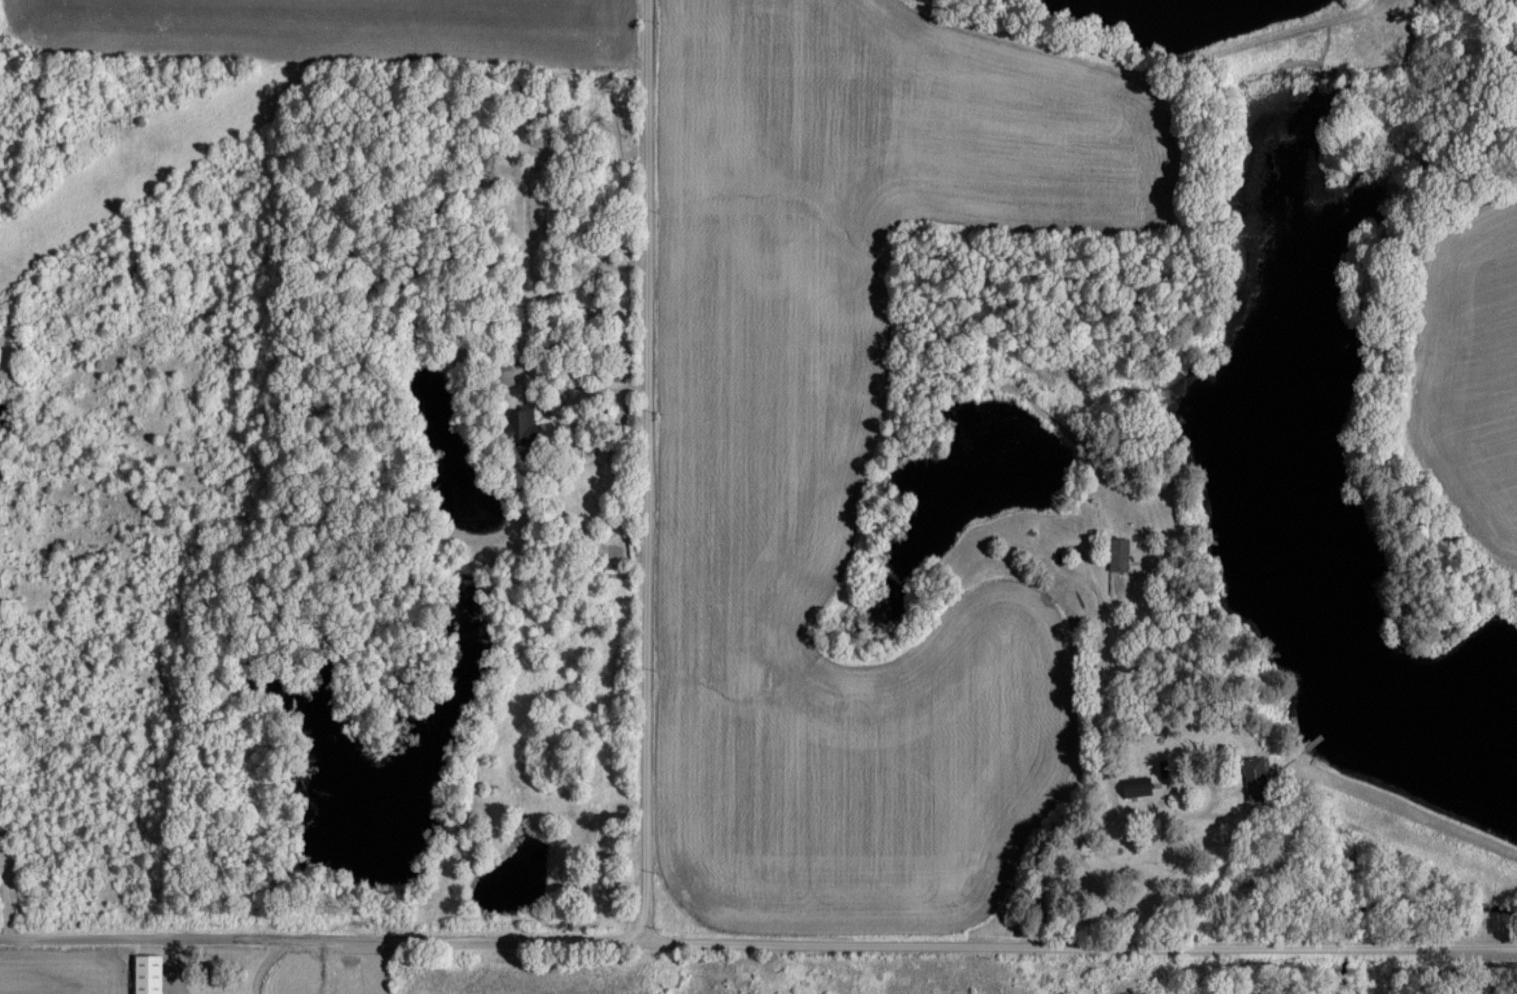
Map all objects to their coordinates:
road: (577, 270)
road: (513, 359)
building: (507, 375)
building: (520, 426)
road: (653, 469)
building: (1117, 555)
road: (1103, 644)
building: (1254, 778)
building: (1135, 786)
dam: (1416, 808)
road: (1096, 831)
road: (758, 941)
building: (146, 973)

